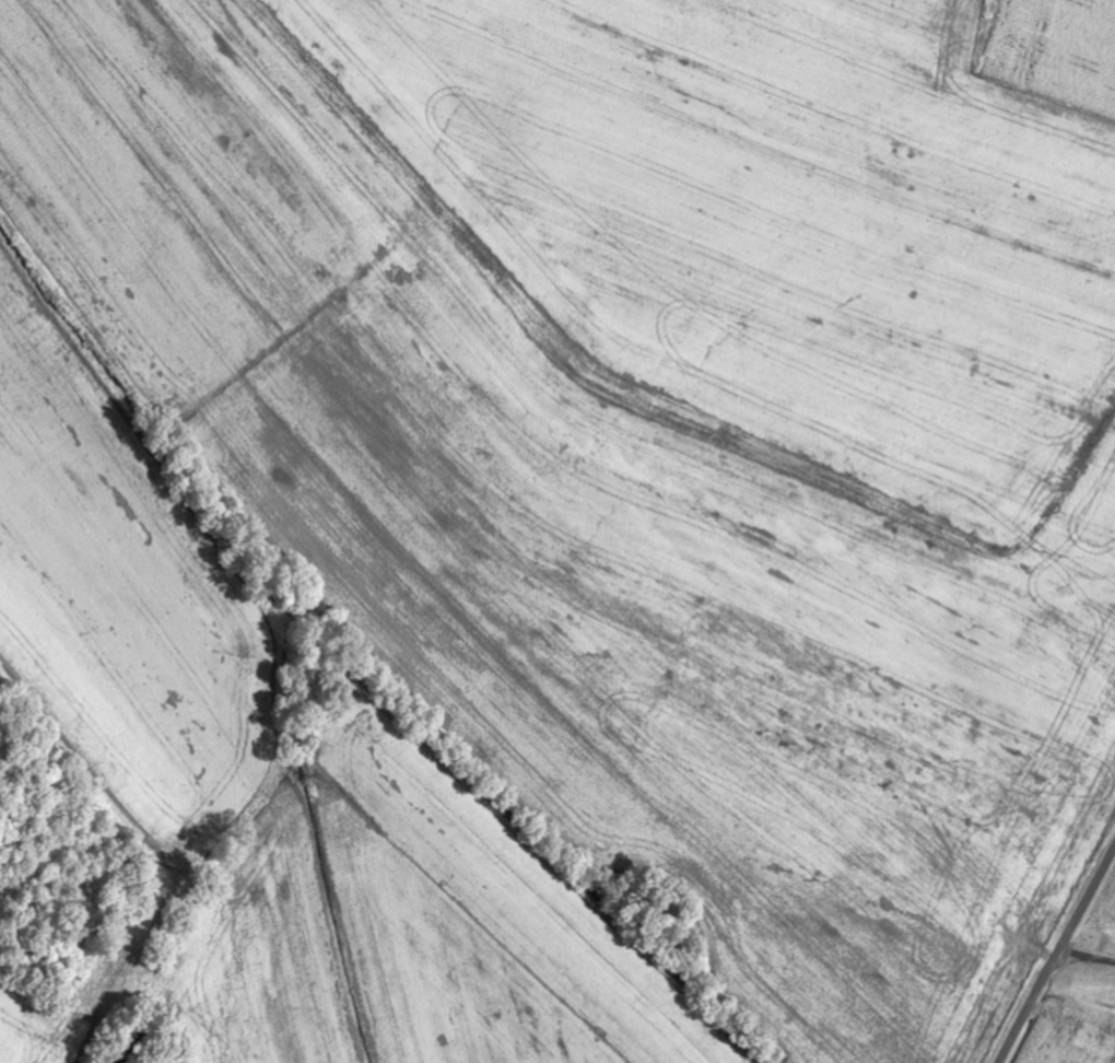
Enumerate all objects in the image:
road: (1058, 956)

